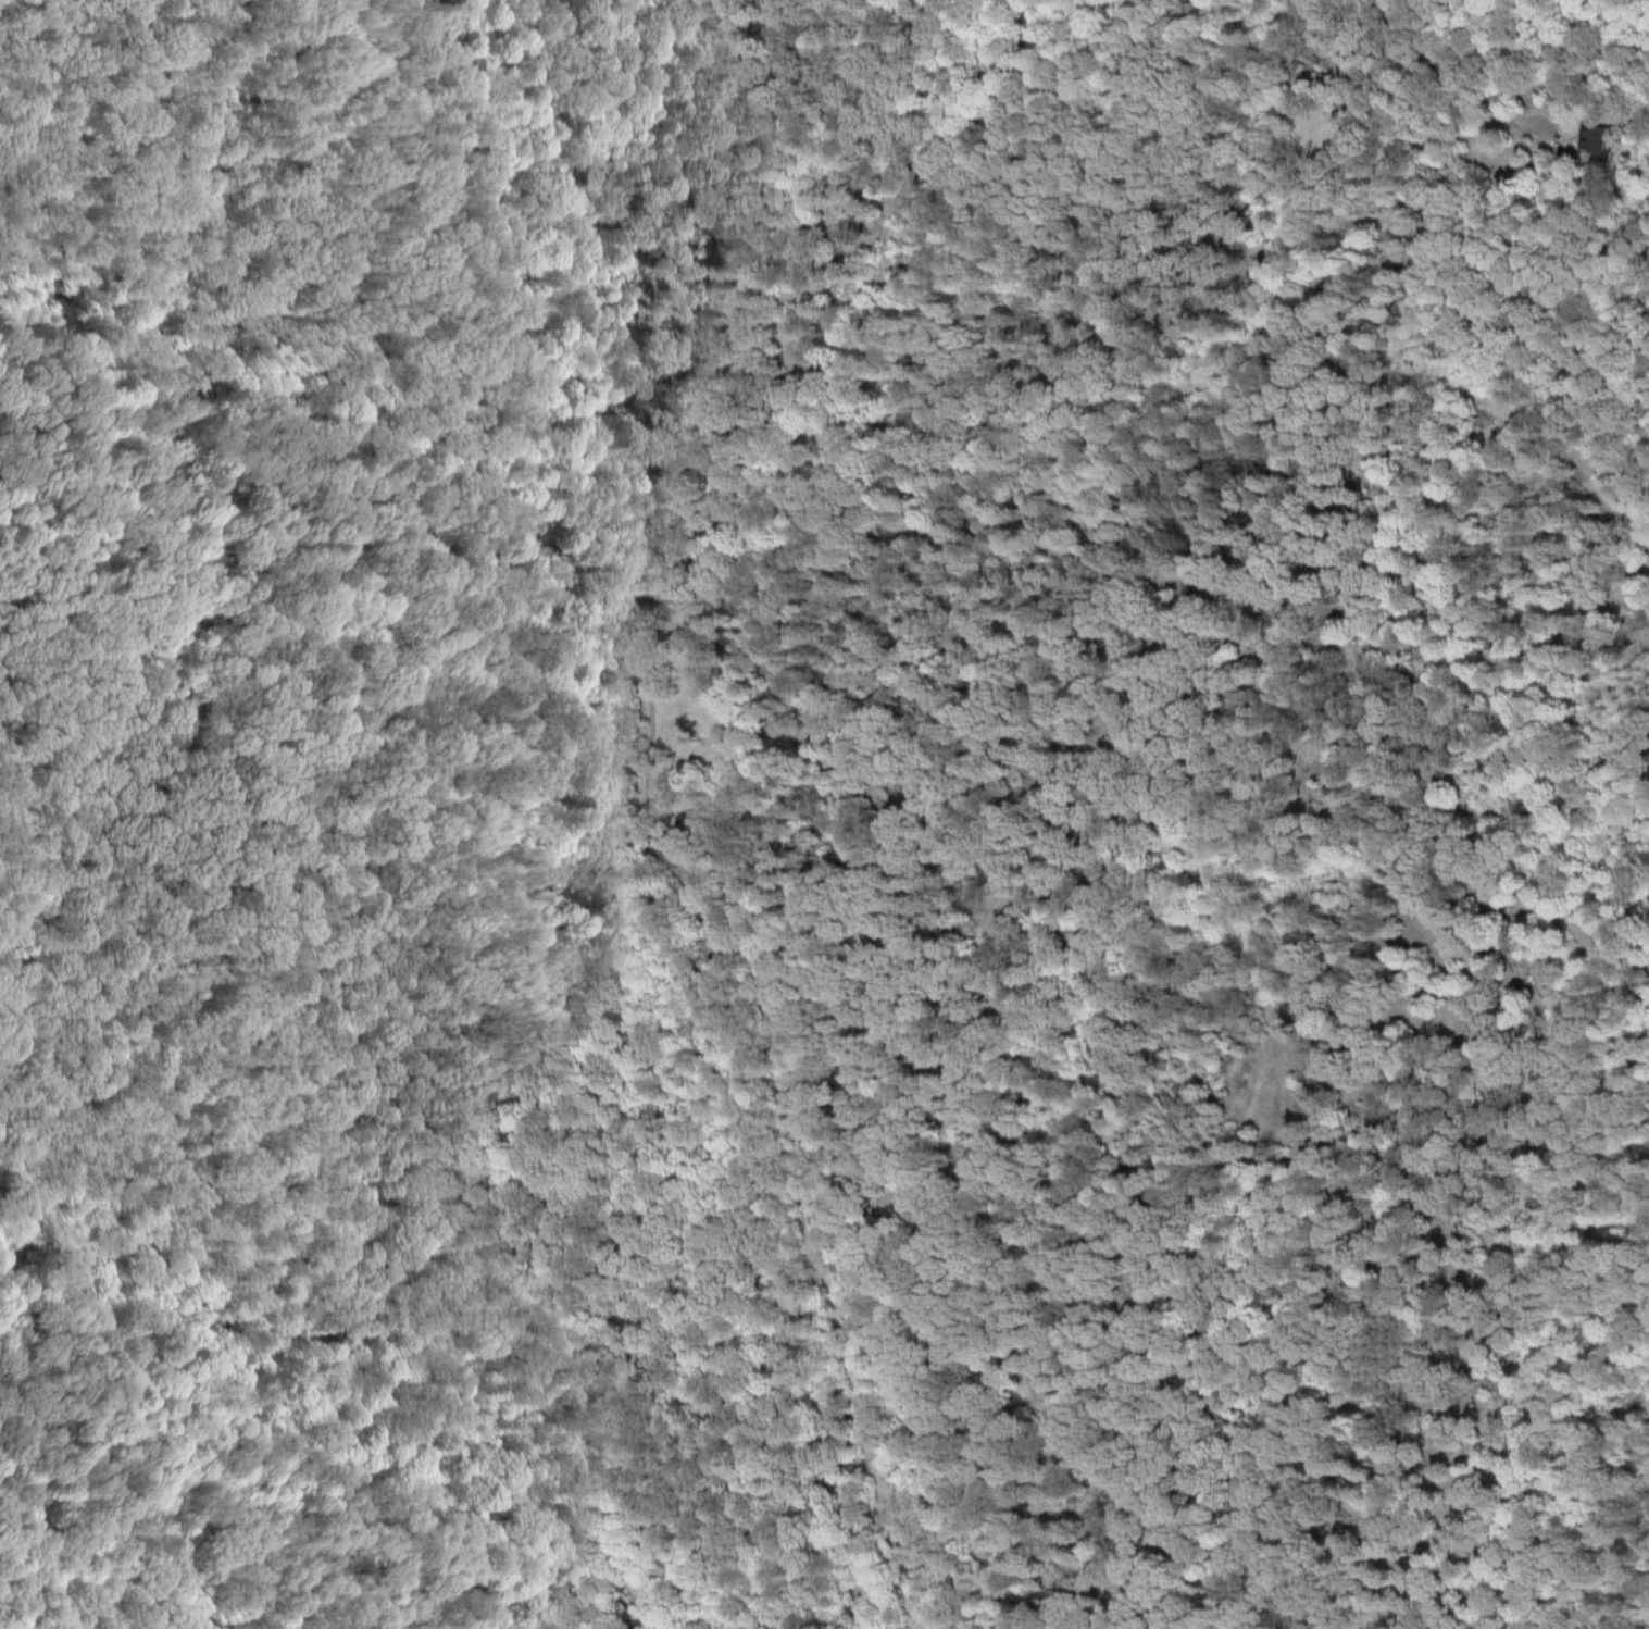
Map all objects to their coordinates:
building: (1306, 70)
road: (1465, 78)
building: (1592, 139)
road: (1132, 572)
road: (649, 832)
road: (148, 1459)

